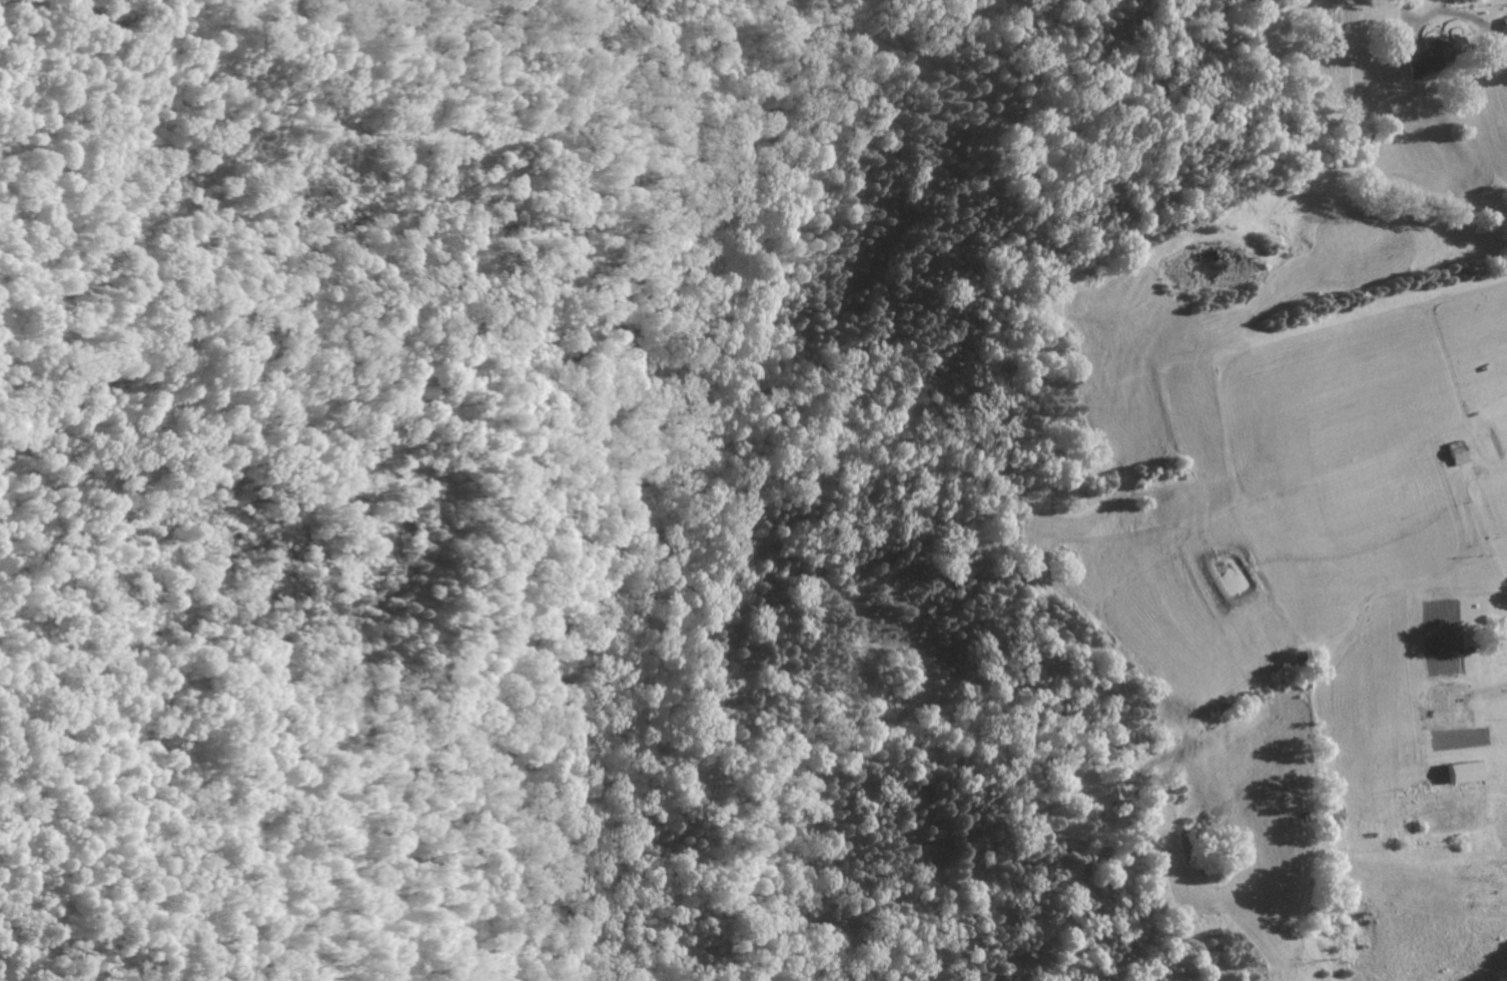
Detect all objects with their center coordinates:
building: (1504, 23)
building: (1427, 60)
building: (1467, 772)

